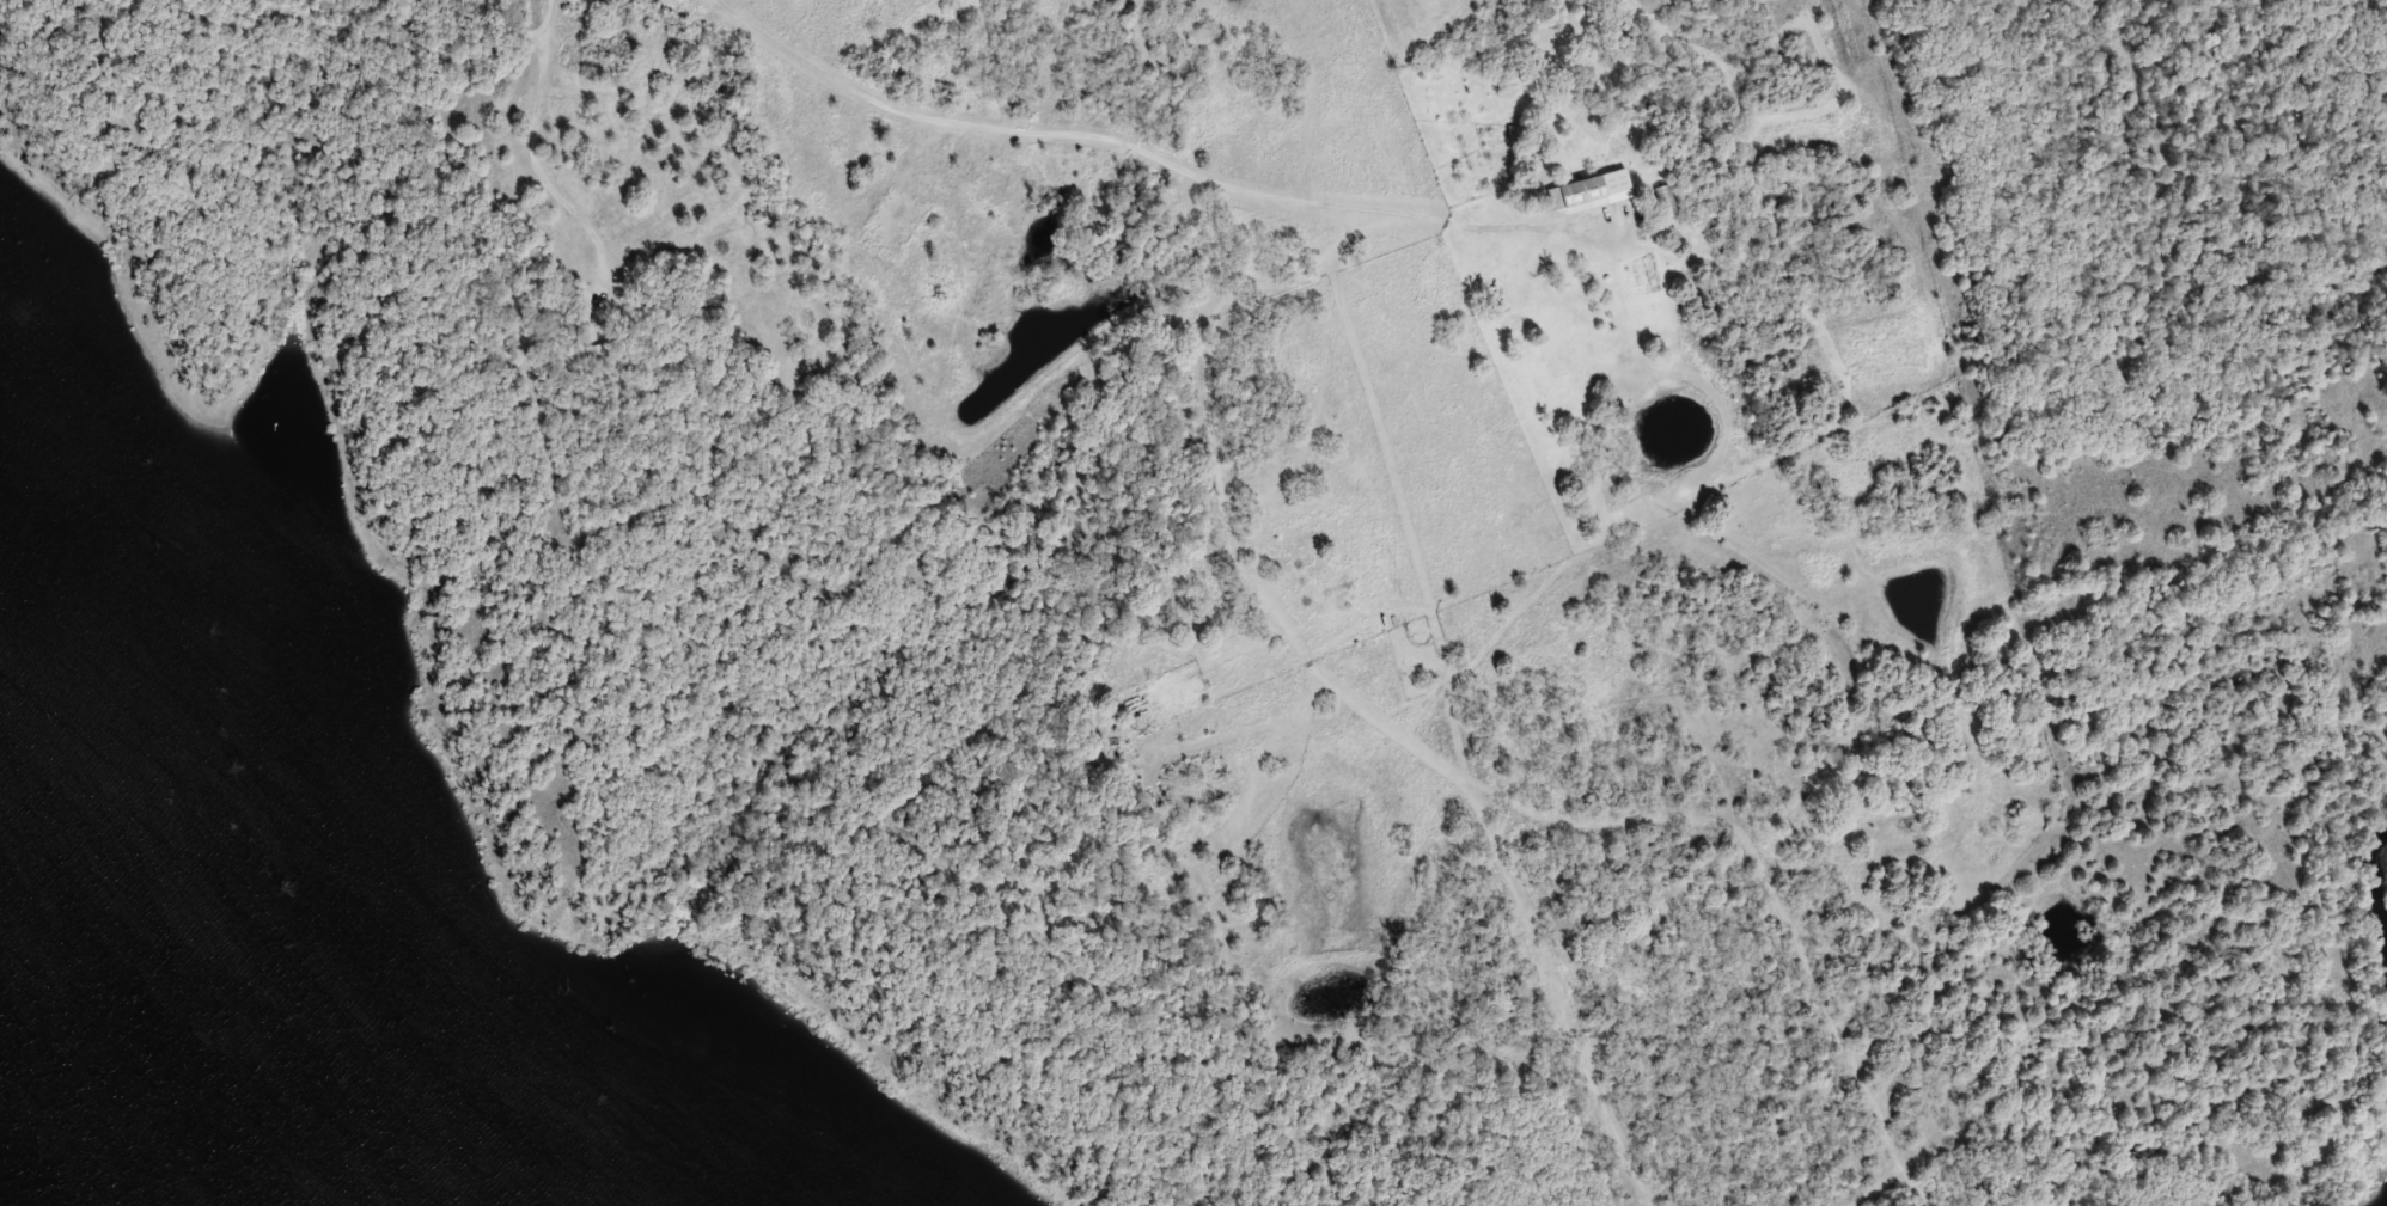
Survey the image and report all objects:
road: (1142, 151)
building: (1622, 171)
building: (1577, 194)
building: (1668, 201)

